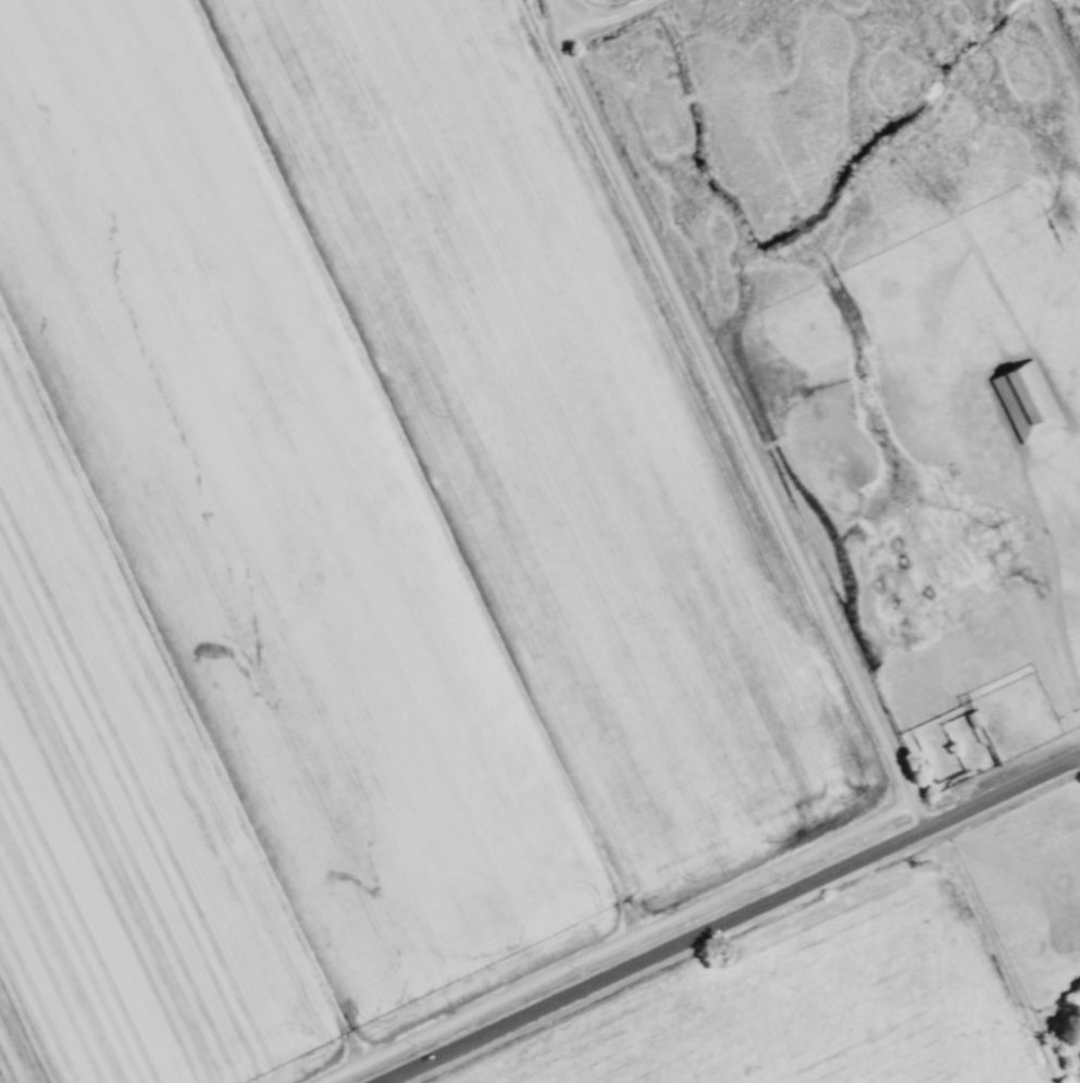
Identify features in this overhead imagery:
building: (1023, 401)
road: (732, 920)

